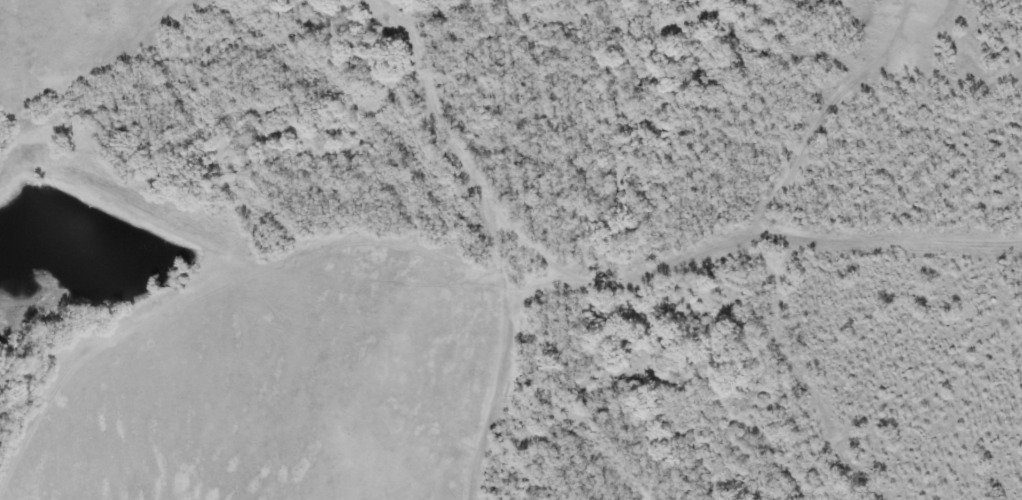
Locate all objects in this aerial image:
road: (917, 240)

